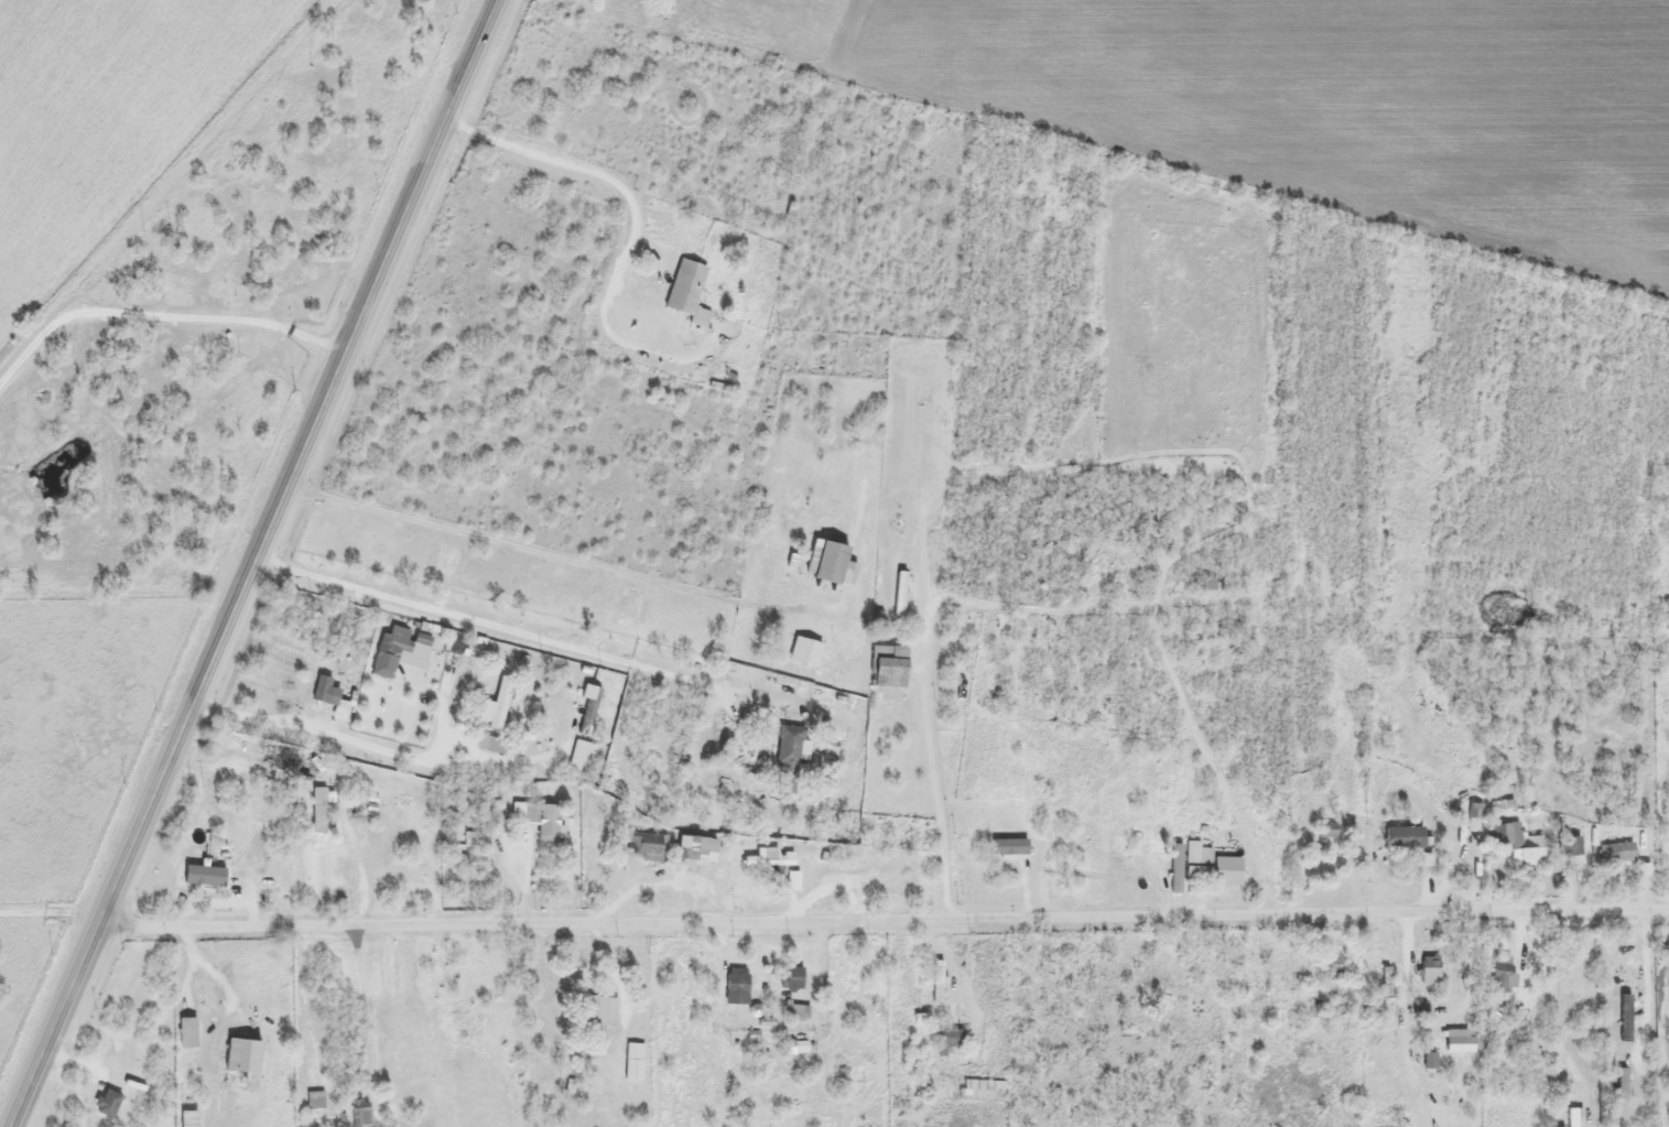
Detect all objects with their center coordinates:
road: (553, 186)
building: (689, 292)
road: (563, 559)
road: (253, 561)
building: (828, 562)
building: (1204, 584)
road: (1037, 609)
building: (1666, 614)
road: (534, 628)
building: (392, 648)
building: (805, 651)
building: (890, 665)
building: (456, 679)
building: (330, 697)
building: (495, 705)
building: (543, 706)
building: (574, 712)
building: (497, 746)
building: (789, 749)
building: (1350, 791)
building: (317, 811)
building: (364, 816)
building: (539, 820)
building: (1326, 831)
building: (1404, 837)
building: (646, 847)
building: (1525, 847)
building: (1569, 847)
building: (696, 848)
building: (258, 852)
building: (1623, 853)
building: (1196, 855)
building: (770, 860)
building: (1138, 861)
building: (1227, 871)
building: (792, 879)
building: (465, 880)
road: (884, 889)
road: (50, 924)
building: (1333, 966)
building: (1430, 971)
building: (1617, 972)
building: (1499, 978)
building: (794, 979)
building: (1384, 986)
building: (737, 987)
road: (213, 996)
building: (600, 1011)
building: (947, 1041)
building: (1461, 1042)
building: (243, 1060)
building: (633, 1062)
building: (1634, 1076)
building: (314, 1101)
building: (108, 1103)
building: (359, 1112)
building: (1571, 1117)
building: (586, 1126)

